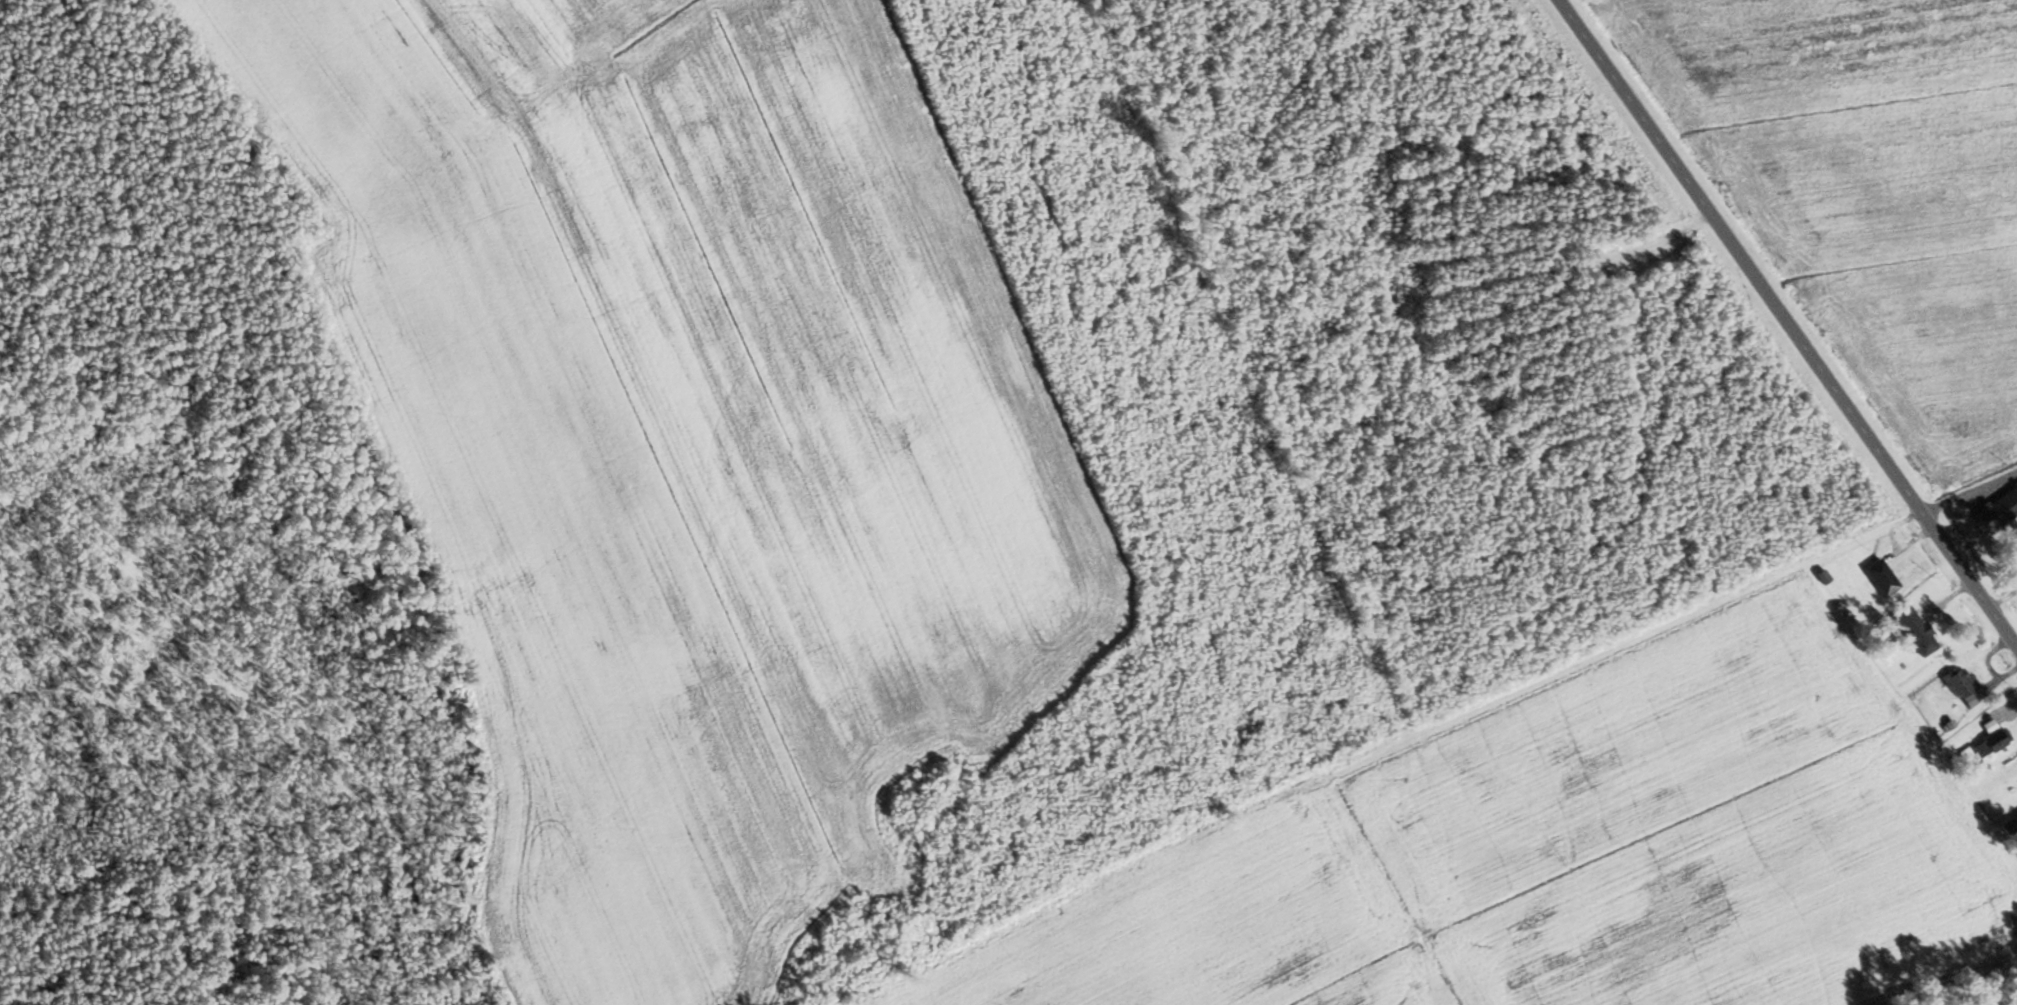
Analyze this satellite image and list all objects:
road: (1786, 326)
building: (1996, 508)
building: (2016, 551)
building: (1877, 578)
building: (1910, 630)
building: (1955, 682)
building: (1988, 743)
building: (2016, 912)

